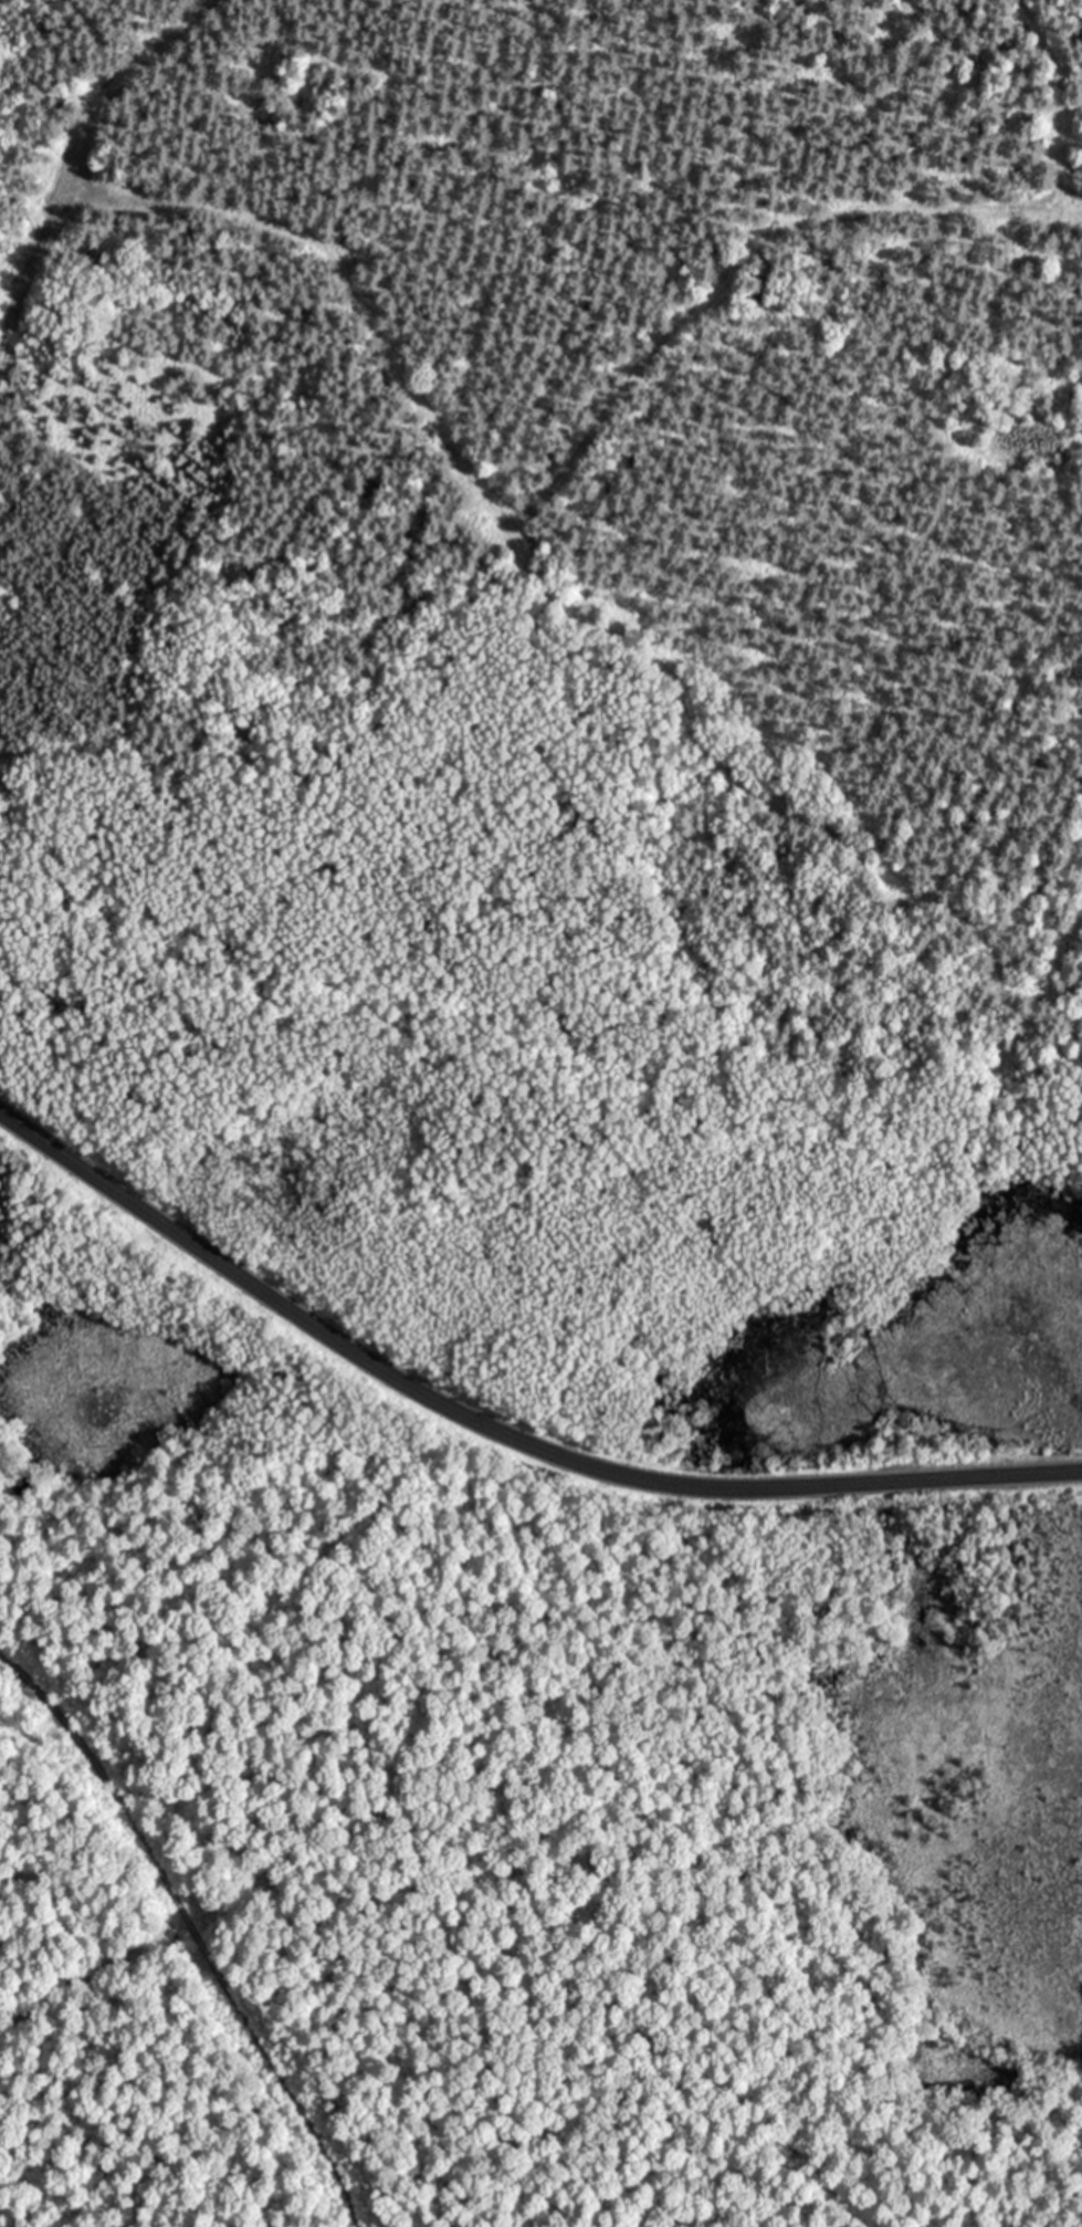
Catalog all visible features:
road: (75, 158)
road: (550, 478)
road: (497, 1432)
road: (192, 1931)
road: (88, 1966)

